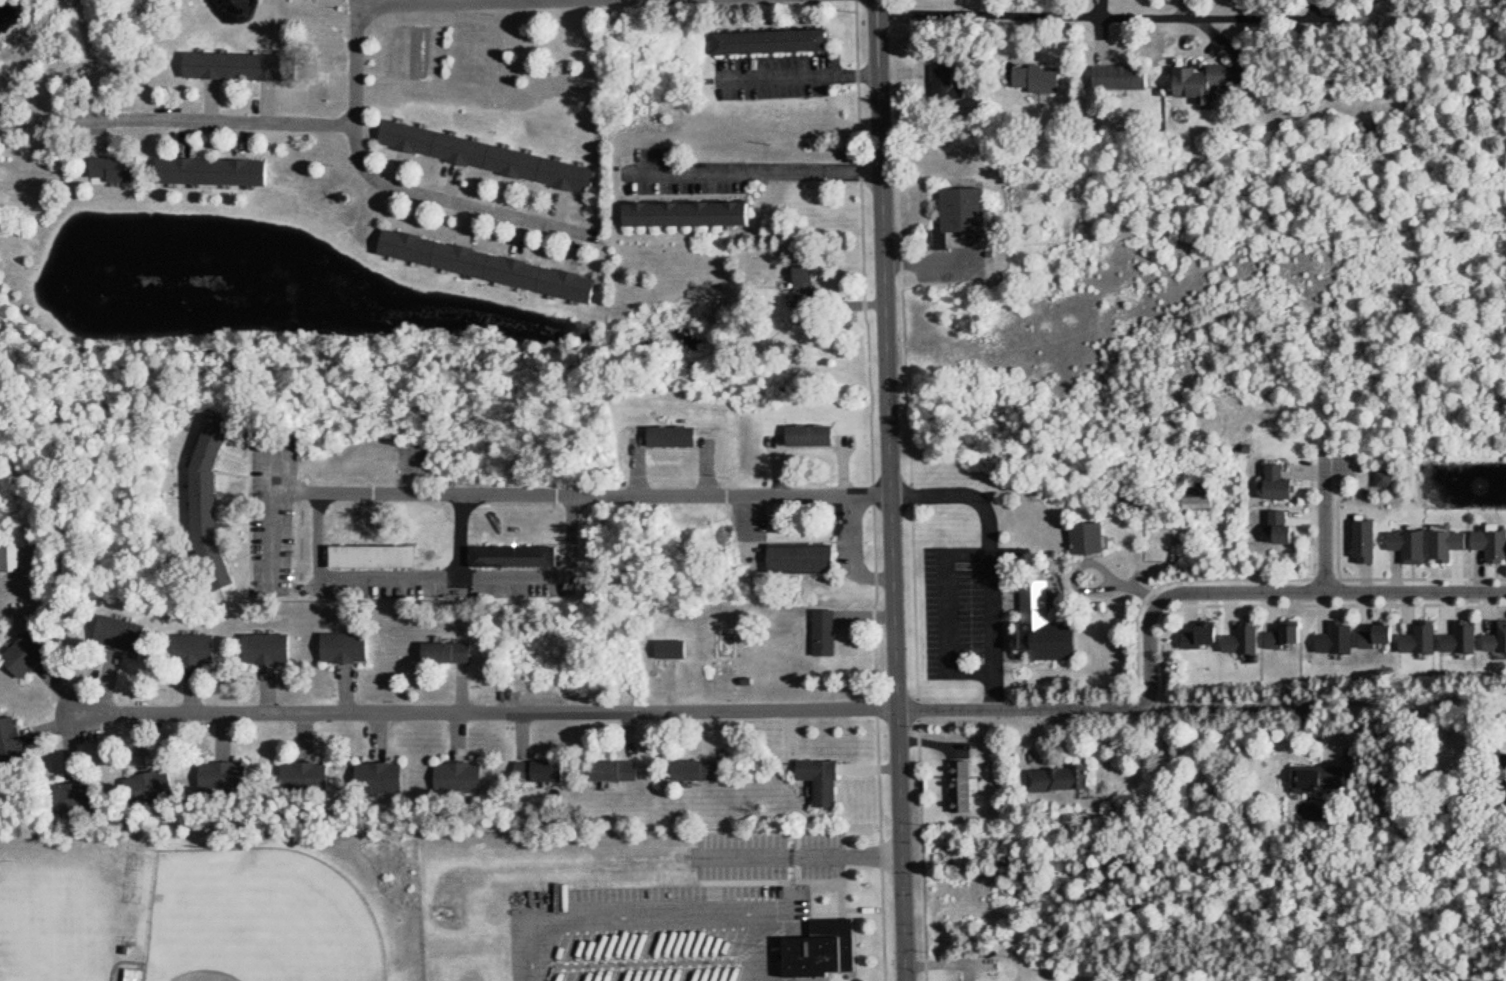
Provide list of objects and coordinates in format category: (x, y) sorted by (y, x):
road: (473, 1)
road: (515, 1)
road: (428, 3)
road: (363, 5)
road: (1119, 18)
building: (768, 42)
building: (239, 65)
building: (1125, 75)
road: (800, 77)
building: (1206, 78)
building: (1039, 79)
building: (943, 88)
building: (4, 118)
road: (198, 120)
building: (485, 157)
building: (118, 169)
building: (218, 171)
road: (758, 174)
road: (458, 203)
building: (967, 208)
building: (684, 214)
building: (485, 266)
building: (803, 295)
building: (815, 435)
building: (678, 438)
road: (636, 471)
building: (1382, 479)
building: (1279, 481)
road: (891, 490)
building: (1196, 496)
road: (582, 497)
building: (215, 505)
road: (273, 506)
road: (1325, 522)
building: (1284, 525)
road: (749, 532)
road: (465, 537)
building: (1092, 537)
building: (1369, 539)
building: (1449, 541)
building: (1412, 544)
building: (1493, 544)
building: (519, 553)
road: (852, 553)
building: (379, 558)
building: (806, 558)
road: (989, 558)
building: (8, 559)
road: (444, 577)
road: (1276, 593)
road: (947, 614)
building: (1049, 626)
building: (829, 631)
building: (1288, 633)
building: (125, 634)
building: (1205, 634)
building: (1381, 634)
building: (1425, 635)
building: (1339, 637)
building: (1465, 638)
building: (1246, 640)
building: (1498, 641)
building: (350, 647)
building: (677, 647)
building: (272, 648)
building: (199, 649)
building: (452, 651)
building: (34, 652)
road: (1321, 706)
road: (613, 712)
building: (16, 746)
building: (702, 769)
building: (619, 770)
building: (546, 771)
building: (311, 777)
building: (227, 778)
building: (1321, 778)
building: (465, 779)
building: (1064, 779)
building: (385, 780)
building: (828, 781)
building: (1501, 783)
building: (964, 786)
building: (152, 792)
building: (70, 802)
road: (800, 855)
road: (651, 915)
park: (268, 917)
building: (827, 949)
building: (132, 975)

